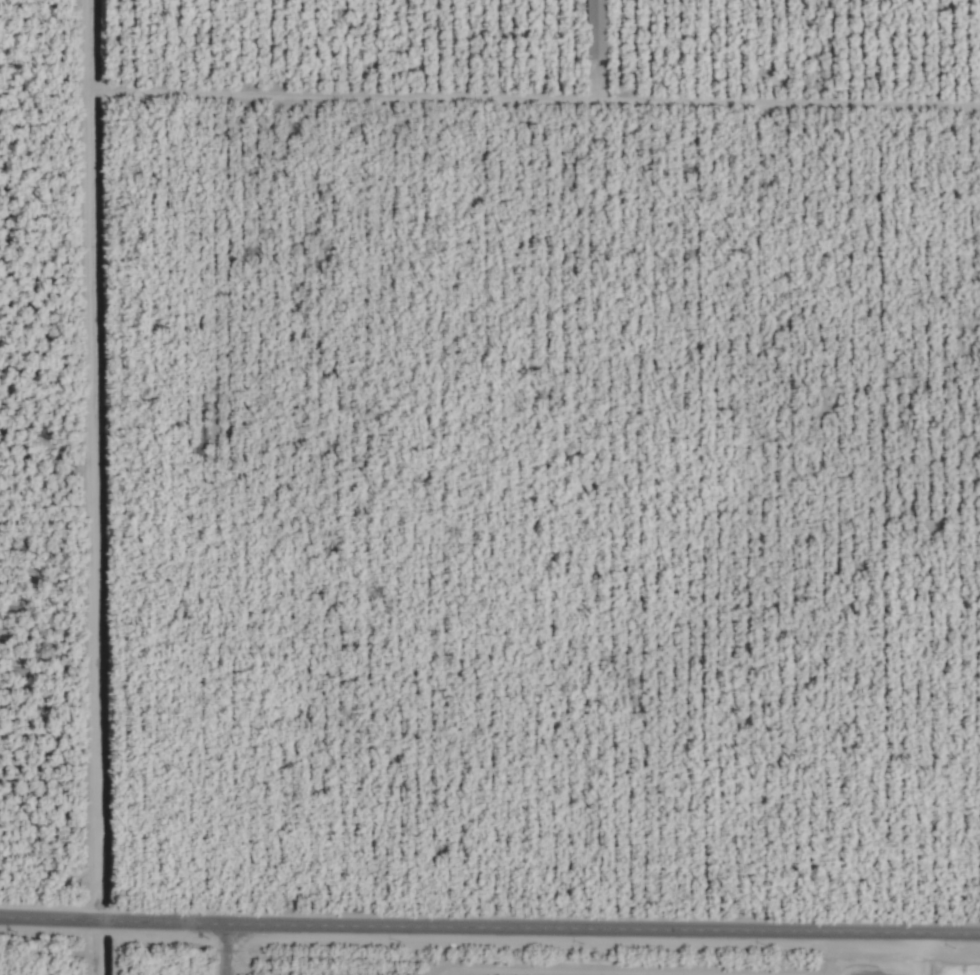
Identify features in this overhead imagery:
crop: (490, 487)
road: (489, 922)
road: (214, 947)
road: (839, 951)

